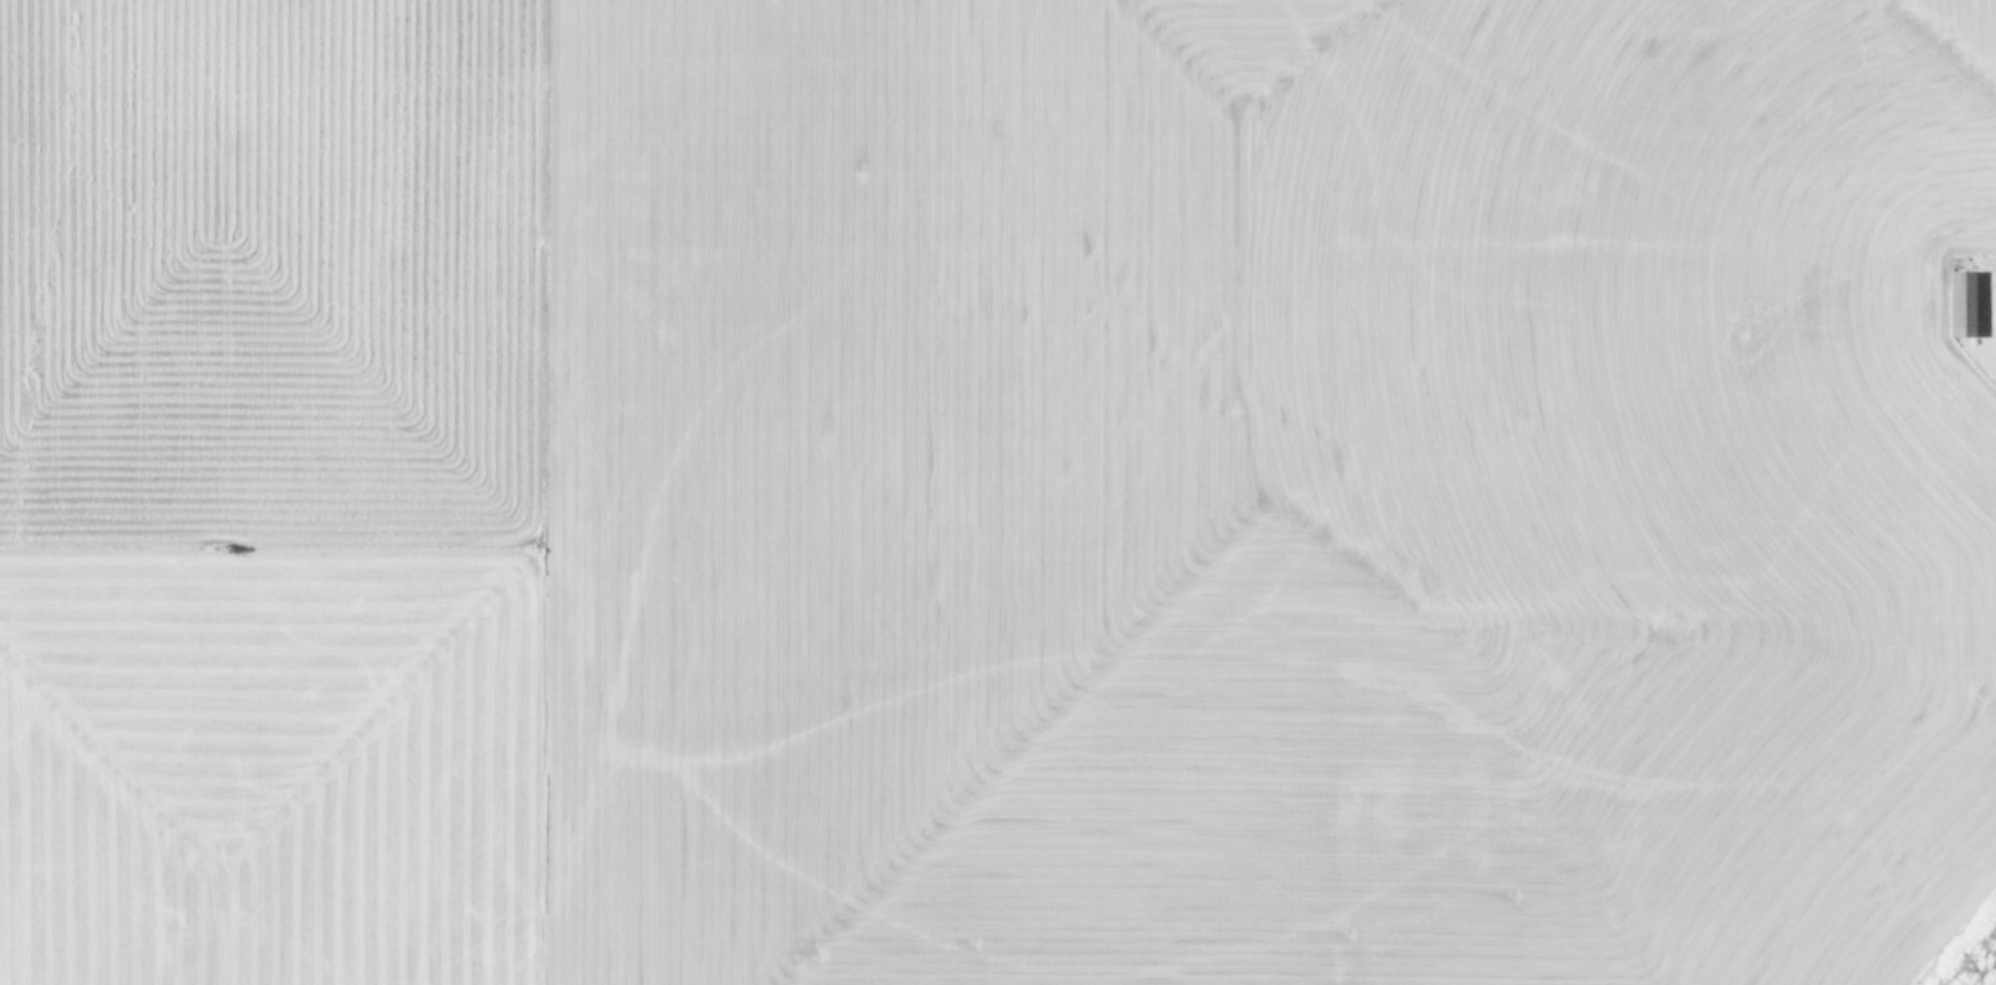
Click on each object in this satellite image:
crop: (998, 492)

